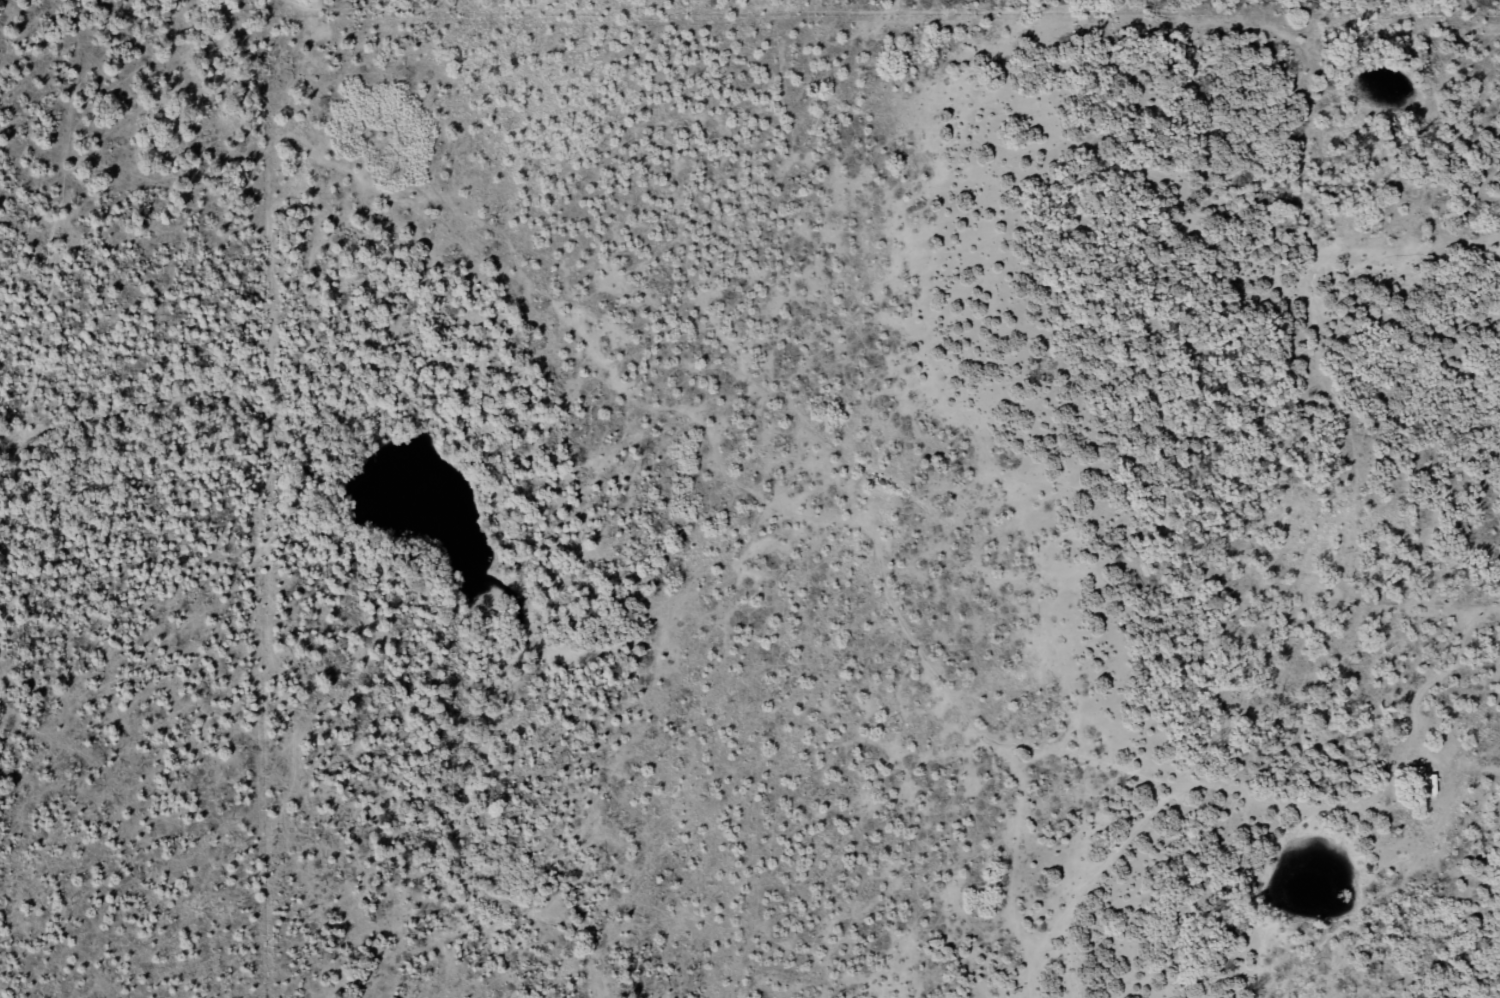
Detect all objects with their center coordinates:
road: (1449, 616)

